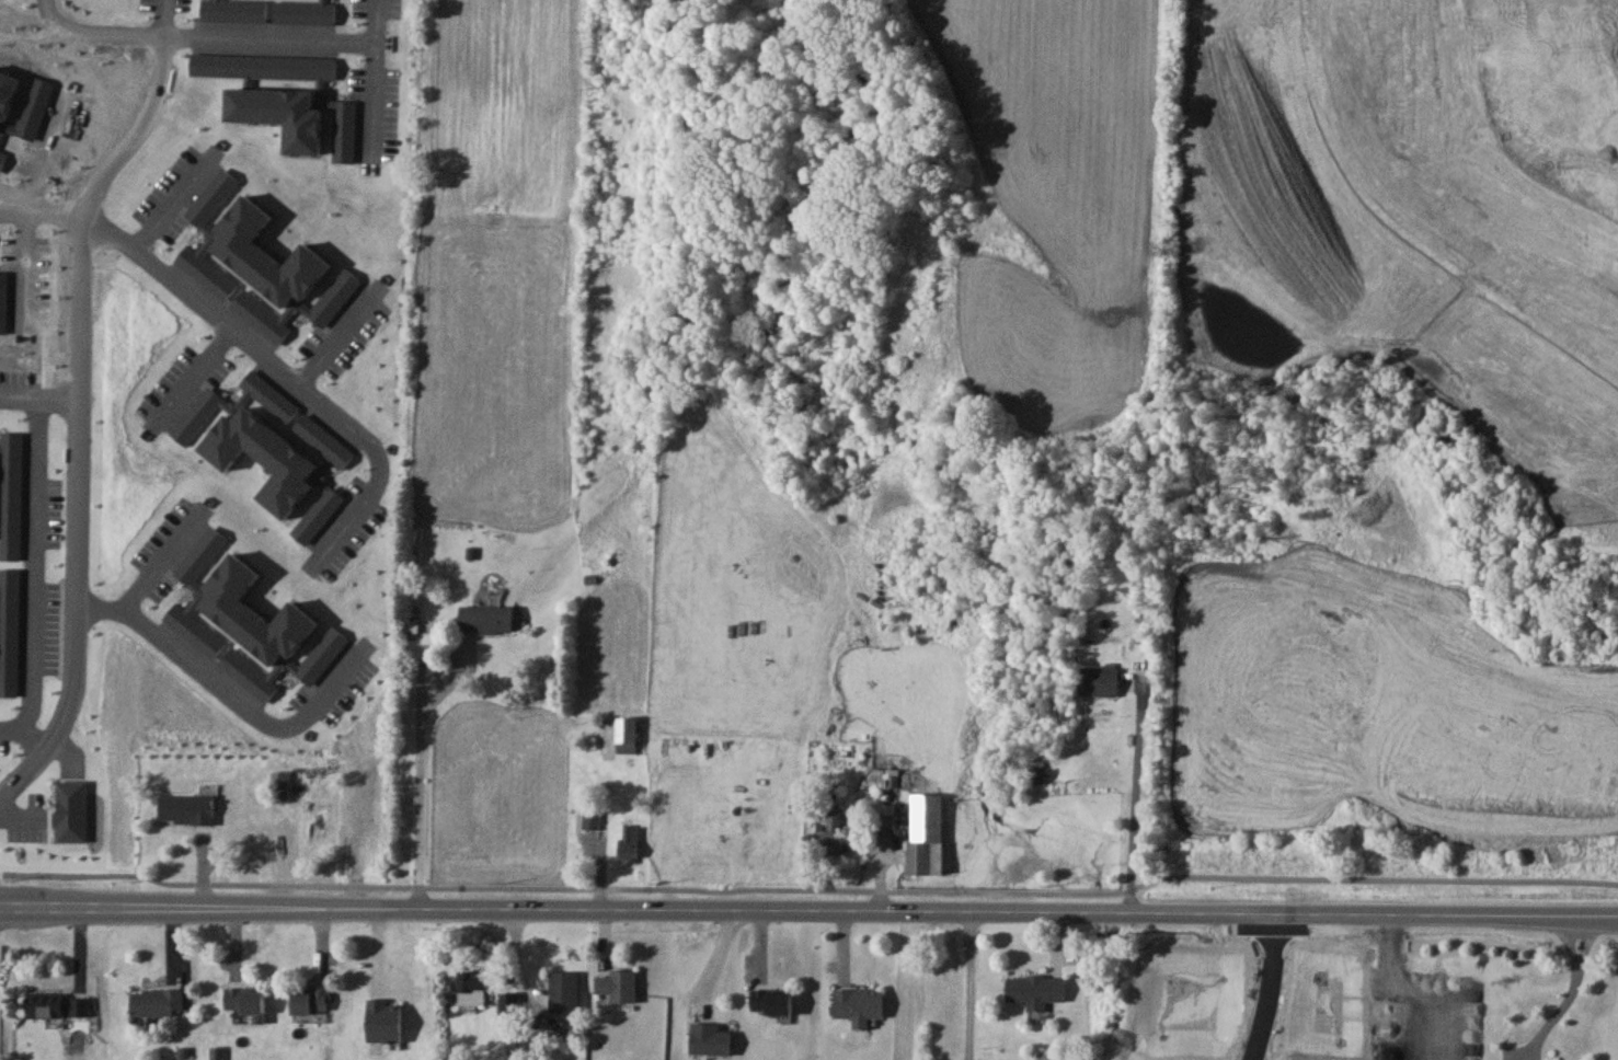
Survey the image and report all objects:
road: (95, 35)
road: (268, 38)
road: (374, 79)
road: (145, 120)
building: (1271, 183)
road: (15, 199)
building: (1489, 203)
road: (42, 214)
road: (1405, 229)
building: (1544, 233)
building: (1316, 241)
road: (82, 265)
road: (28, 269)
building: (1586, 276)
building: (1368, 290)
building: (1617, 303)
road: (187, 378)
road: (38, 399)
building: (1586, 446)
road: (161, 557)
road: (33, 565)
building: (196, 594)
building: (253, 612)
building: (487, 619)
building: (283, 665)
building: (1098, 680)
road: (231, 695)
road: (417, 725)
road: (24, 731)
building: (627, 734)
building: (279, 785)
road: (1132, 796)
building: (187, 807)
building: (69, 809)
building: (883, 813)
building: (589, 819)
building: (926, 833)
building: (629, 843)
road: (810, 885)
road: (808, 912)
road: (1573, 960)
building: (473, 984)
building: (618, 986)
road: (967, 986)
road: (1269, 988)
building: (1036, 990)
building: (564, 992)
building: (312, 1000)
building: (157, 1002)
building: (245, 1002)
building: (771, 1002)
building: (57, 1005)
building: (857, 1005)
road: (1553, 1012)
building: (383, 1021)
building: (709, 1039)

